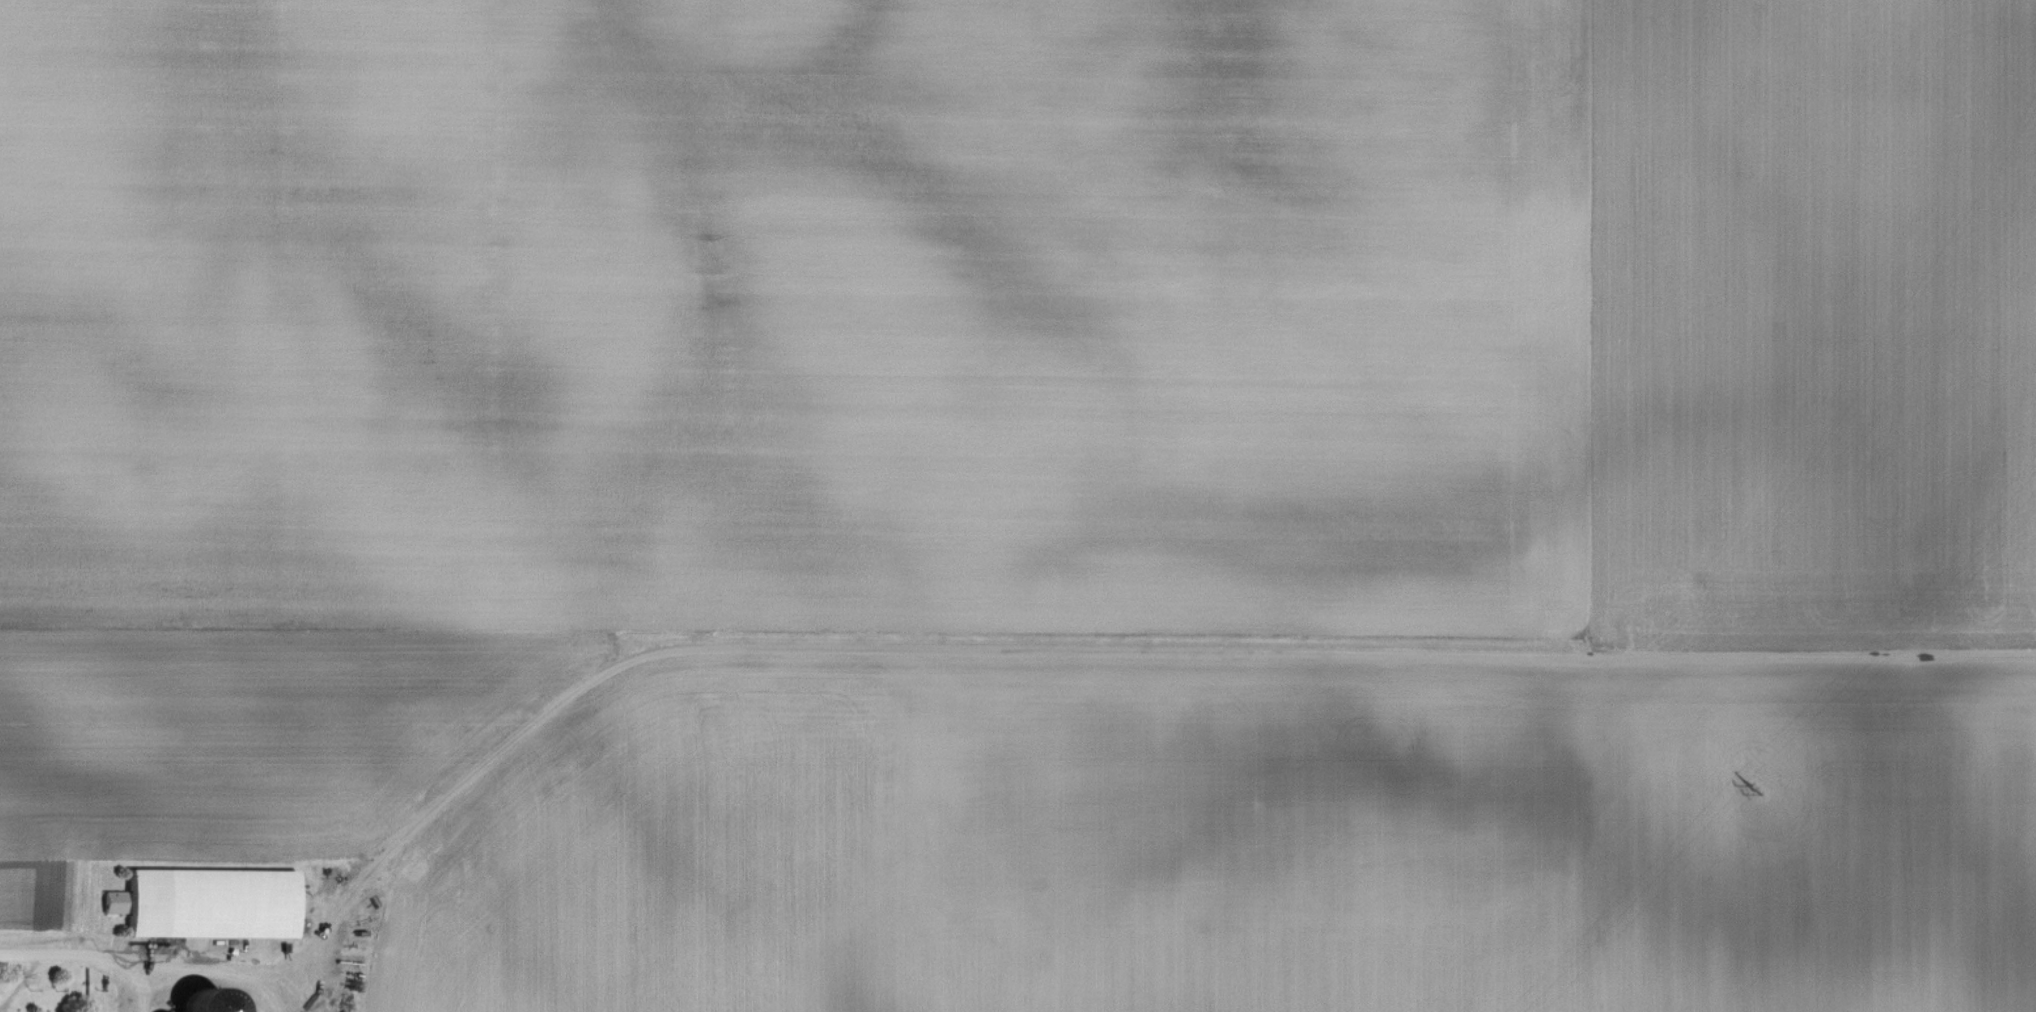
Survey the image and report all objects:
road: (1078, 648)
power tower: (1757, 791)
building: (215, 903)
road: (67, 954)
road: (214, 972)
road: (20, 978)
road: (129, 987)

